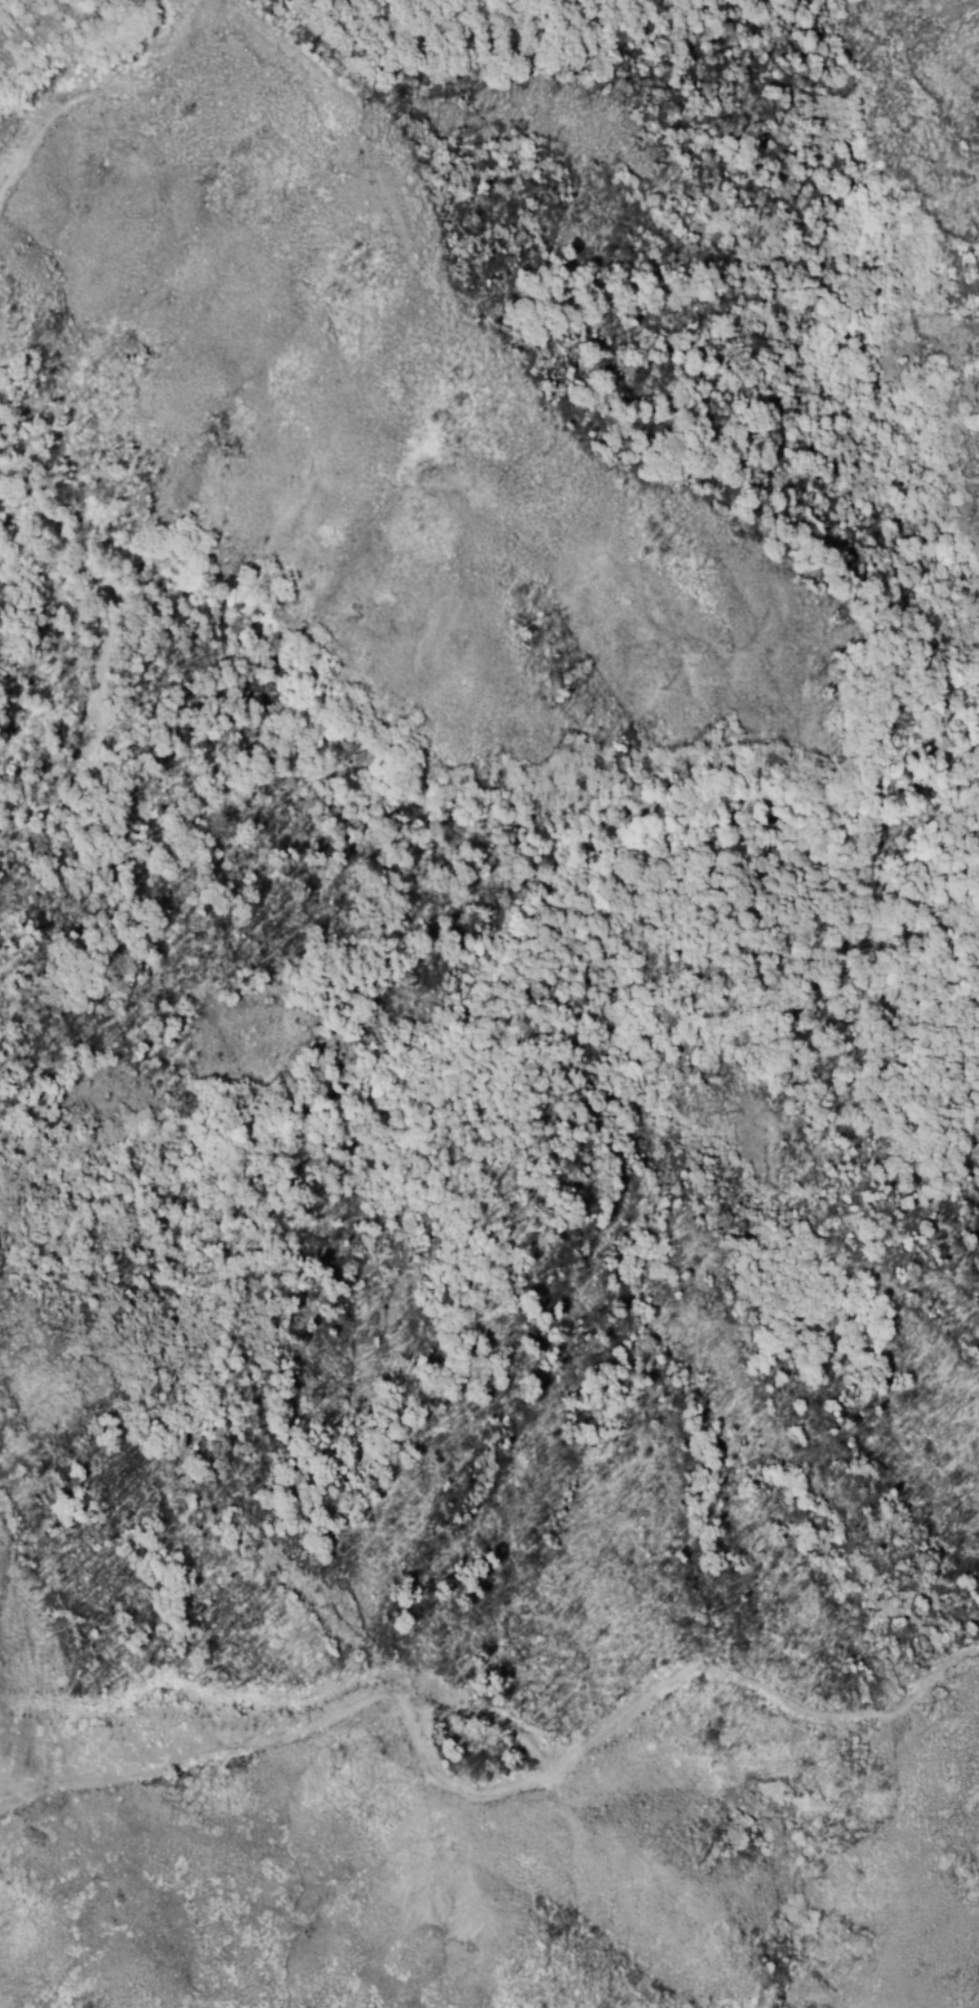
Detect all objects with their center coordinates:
road: (486, 1798)

